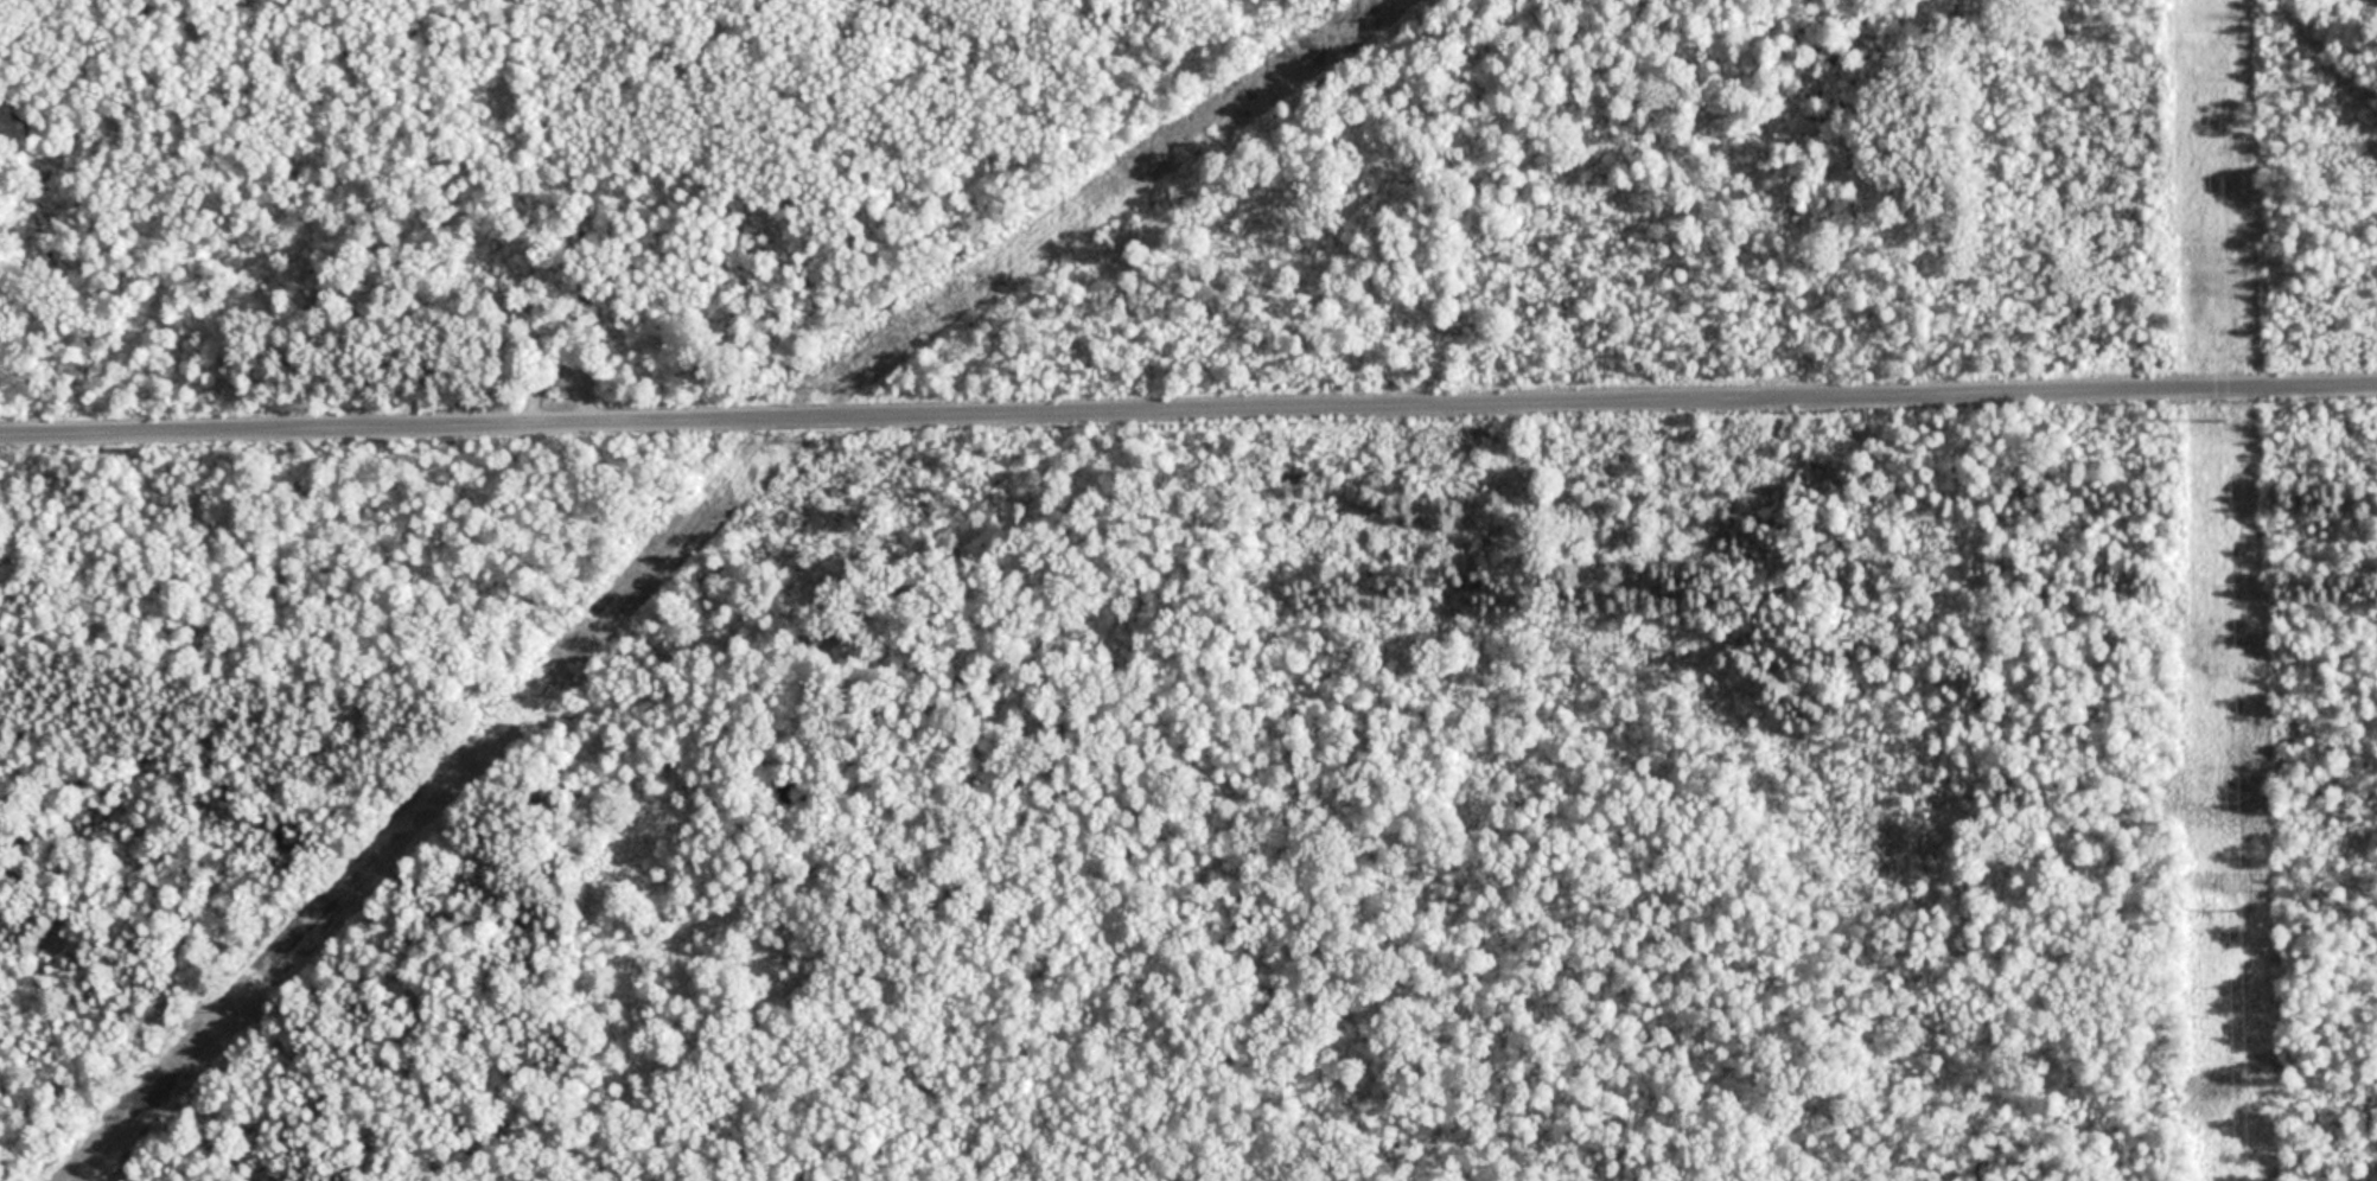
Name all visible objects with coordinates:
road: (1188, 410)
power tower: (2225, 427)
park: (1188, 590)
power tower: (2235, 912)

